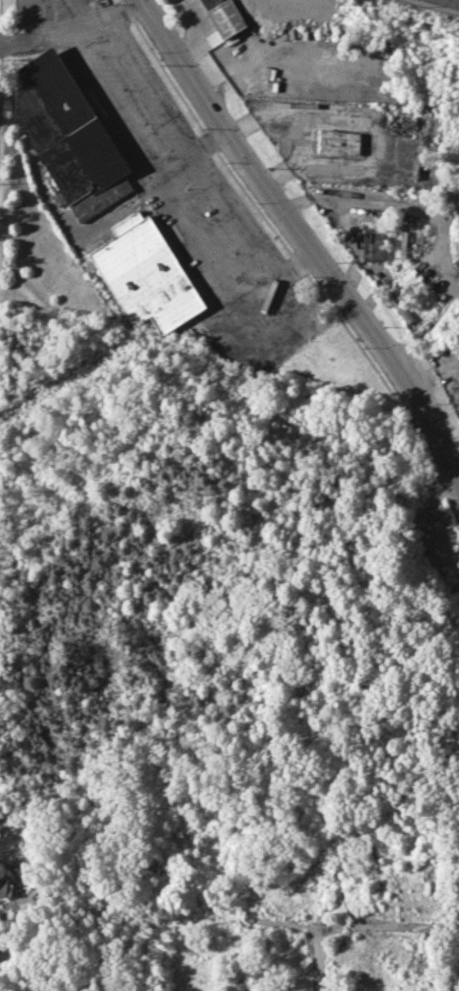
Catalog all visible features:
road: (81, 11)
building: (226, 15)
road: (32, 19)
road: (70, 29)
street lamp: (157, 51)
street lamp: (99, 55)
street lamp: (121, 89)
street lamp: (144, 123)
street lamp: (205, 128)
building: (69, 135)
road: (209, 142)
building: (340, 142)
road: (191, 145)
street lamp: (165, 157)
street lamp: (186, 189)
street lamp: (258, 202)
road: (176, 204)
street lamp: (208, 219)
road: (304, 244)
building: (375, 244)
building: (403, 245)
street lamp: (233, 253)
building: (147, 273)
street lamp: (311, 276)
street lamp: (253, 282)
building: (397, 301)
street lamp: (275, 311)
street lamp: (309, 342)
street lamp: (363, 347)
street lamp: (276, 368)
building: (7, 886)
building: (278, 900)
road: (330, 925)
road: (318, 941)

